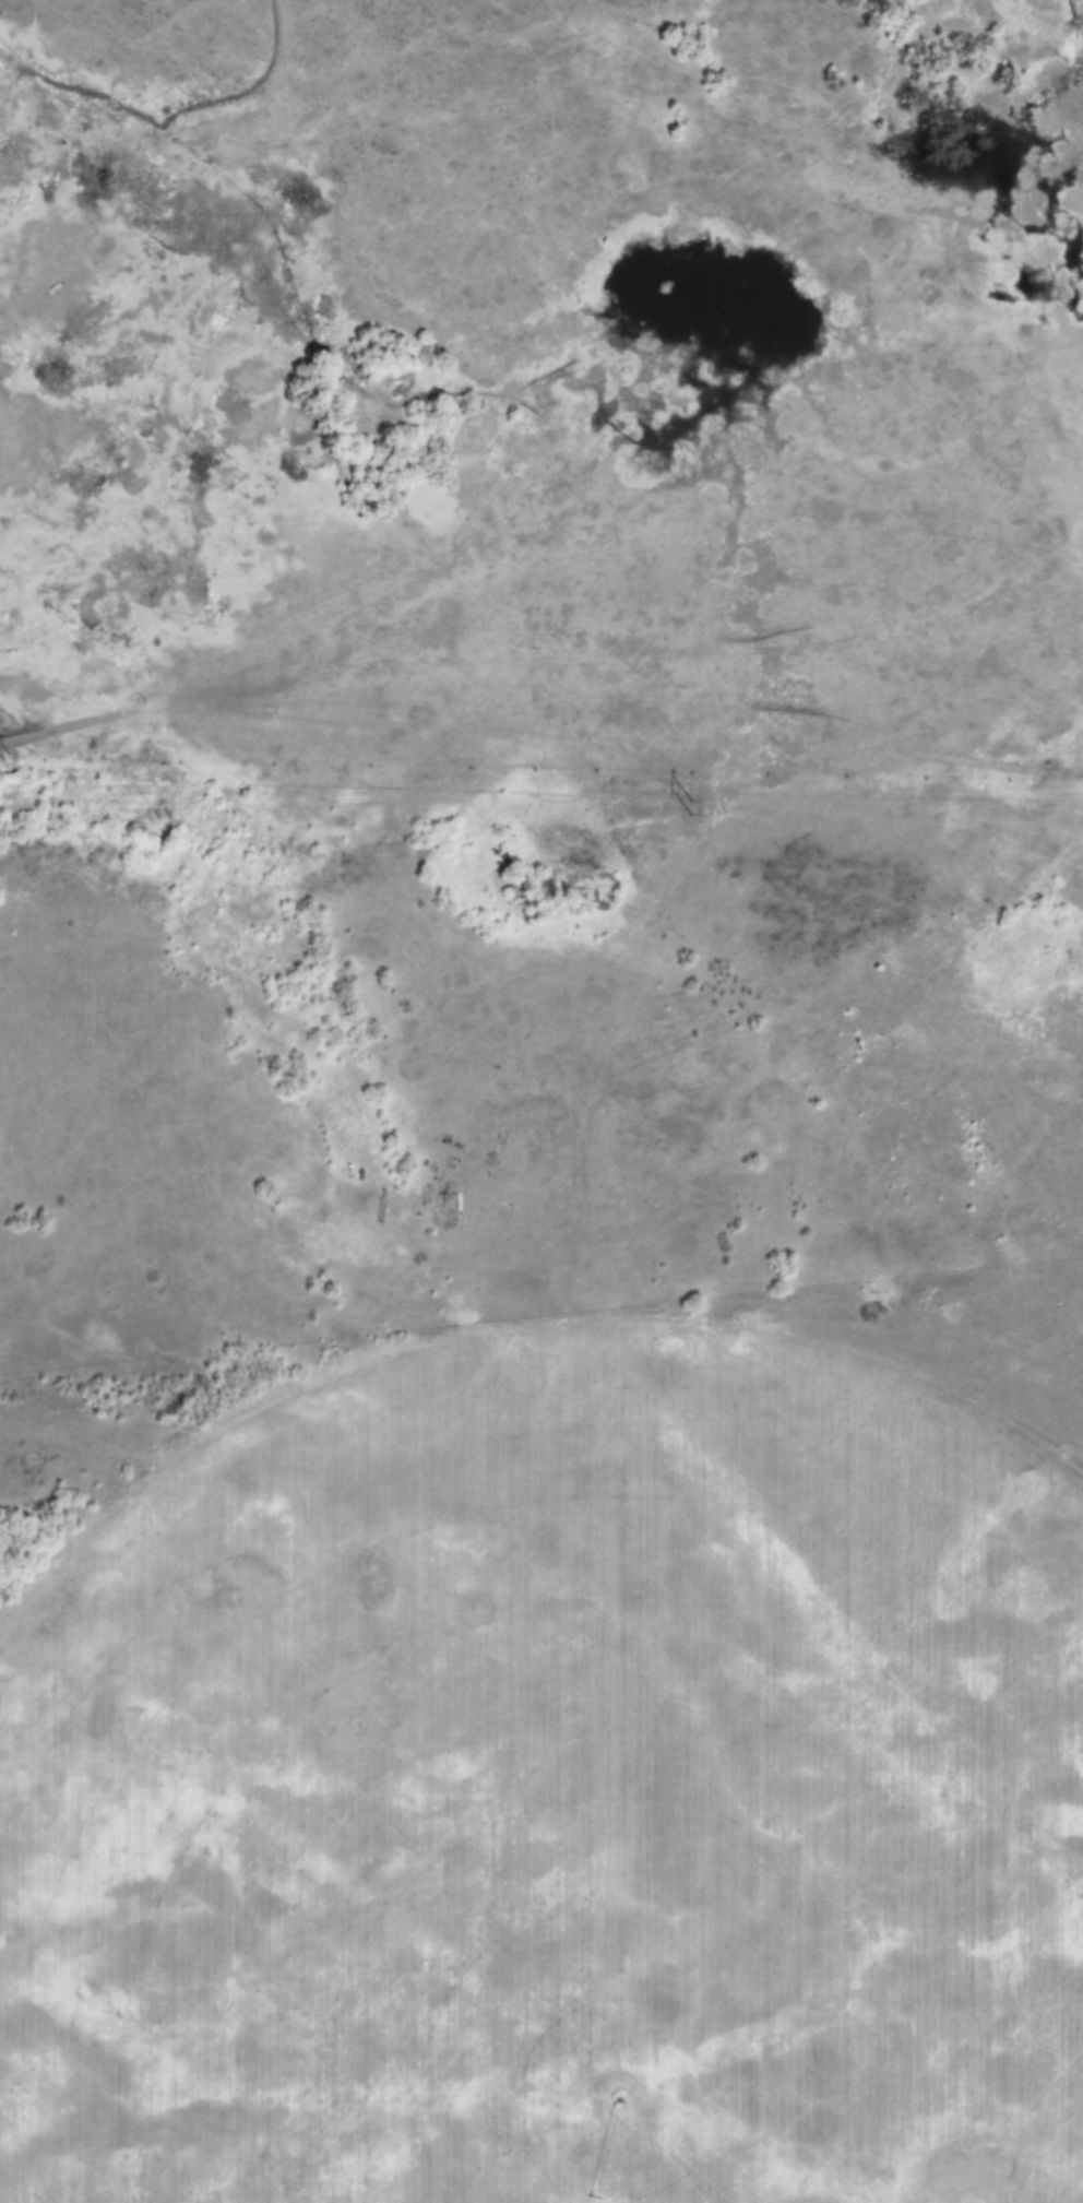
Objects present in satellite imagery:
power tower: (3, 761)
power tower: (688, 805)
crop: (554, 1799)

